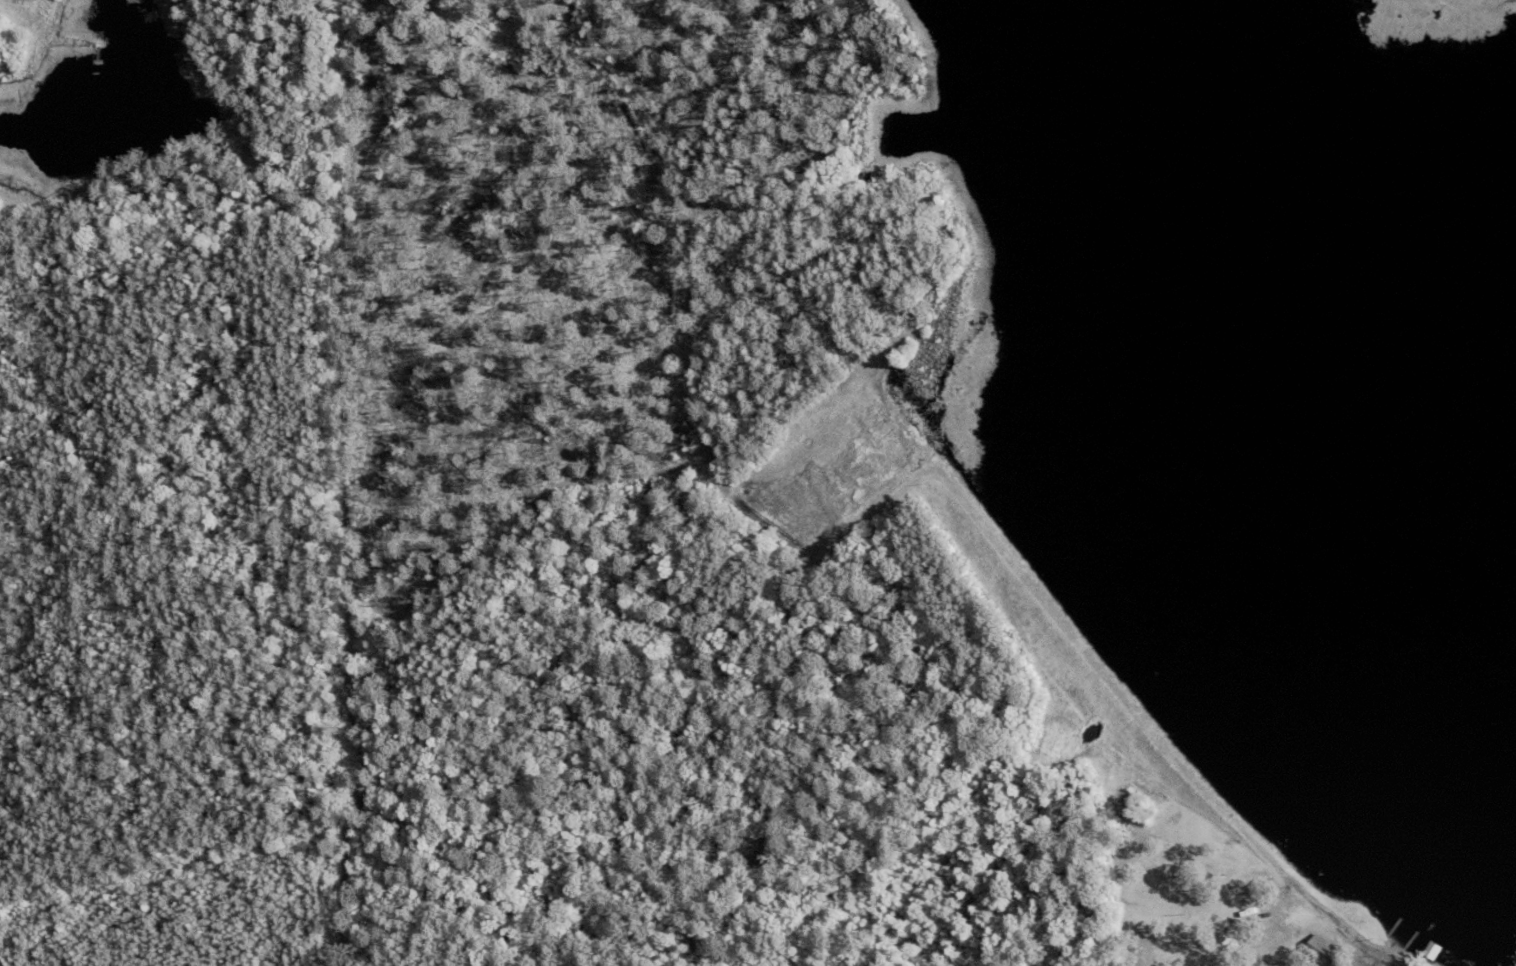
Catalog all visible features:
building: (1432, 950)
building: (1325, 951)
road: (1388, 965)

